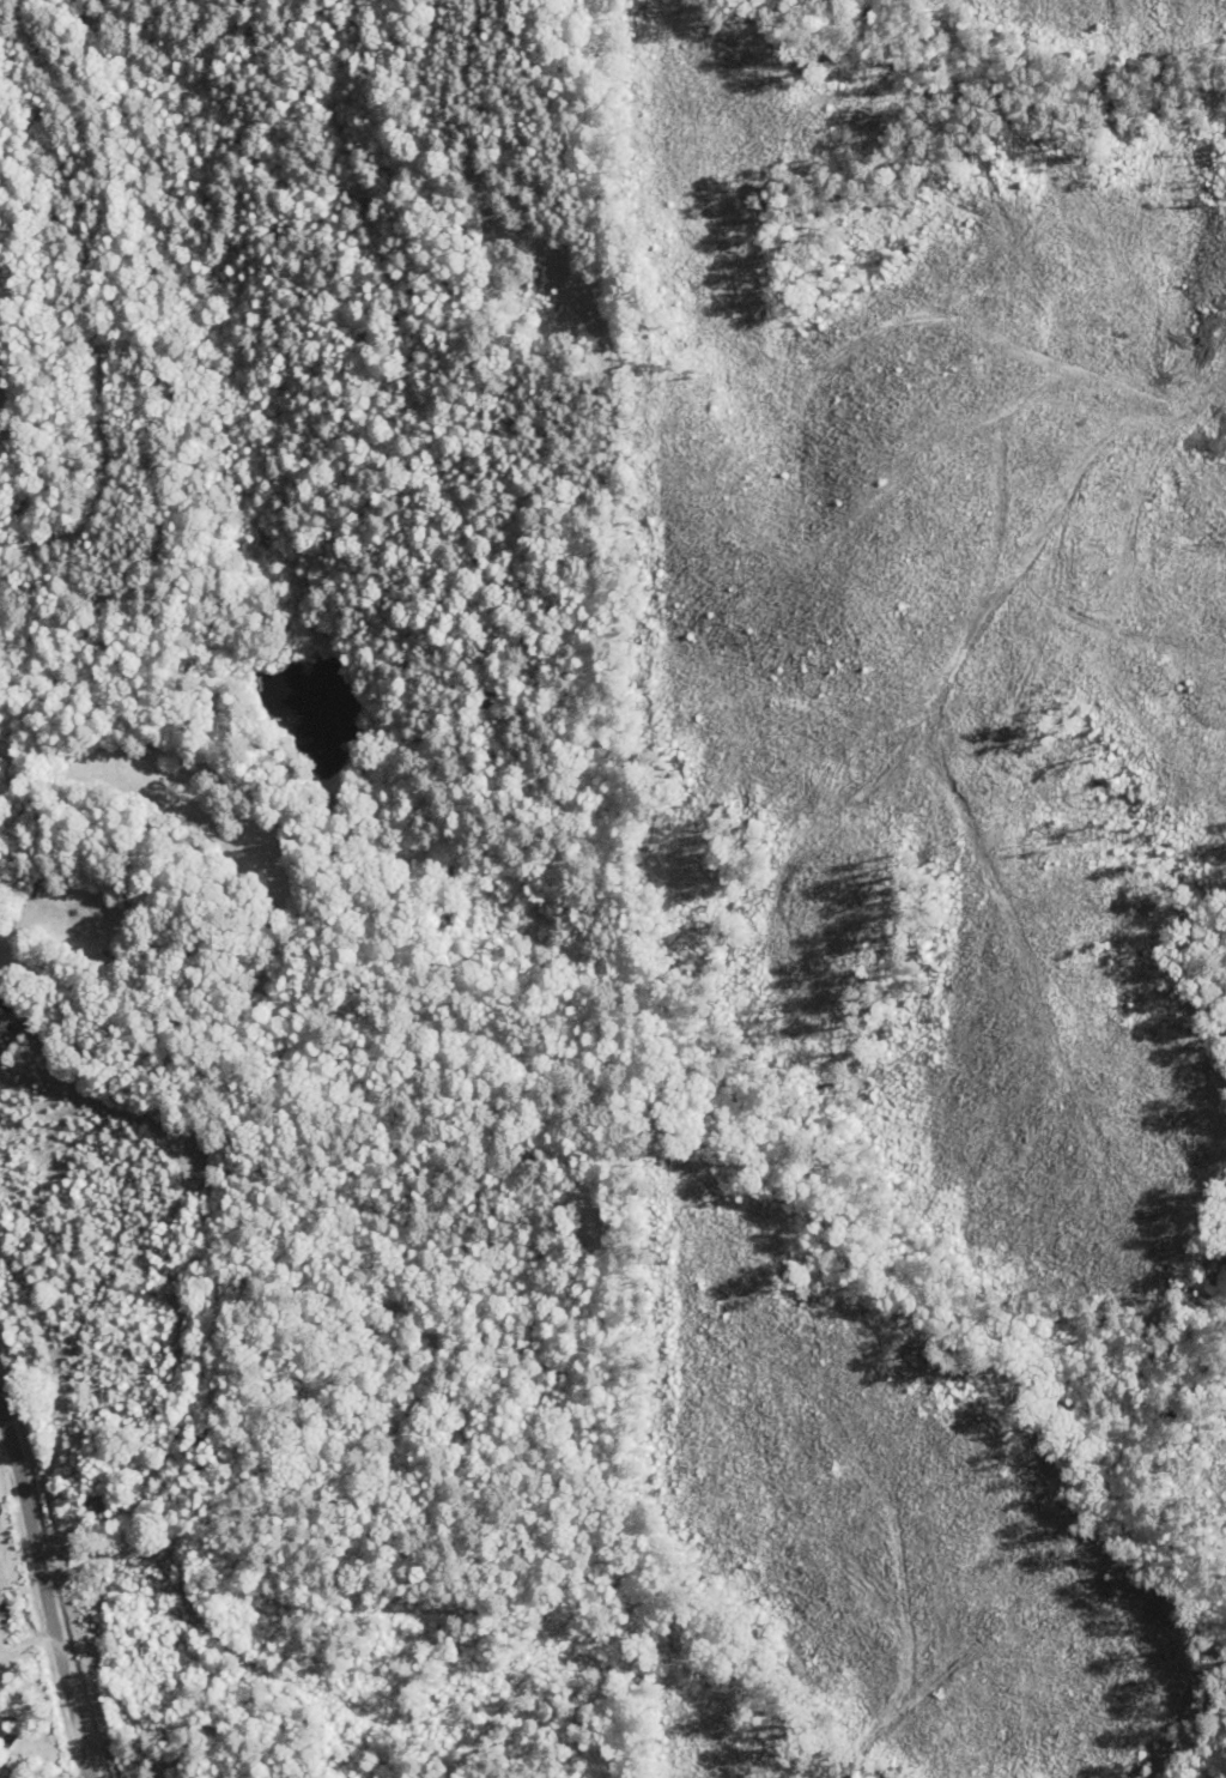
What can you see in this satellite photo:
road: (83, 1498)

